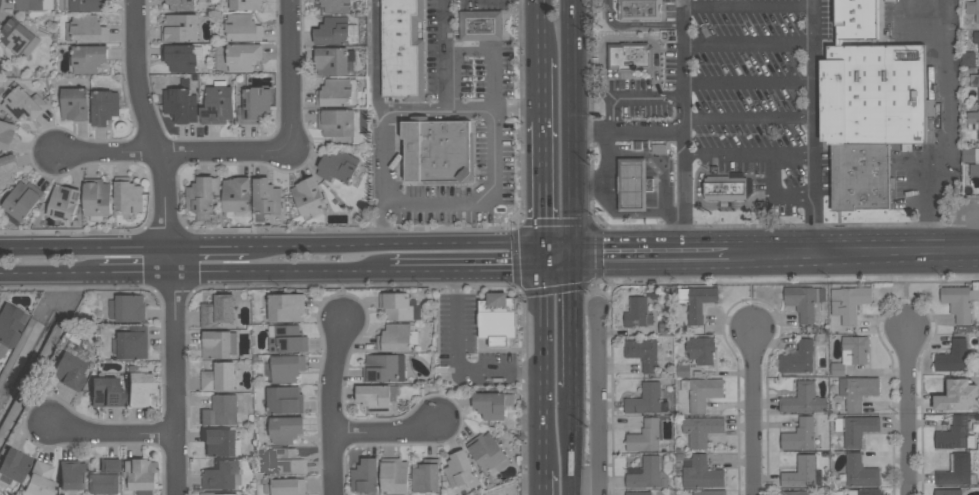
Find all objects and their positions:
building: (33, 4)
building: (181, 4)
building: (245, 4)
building: (84, 5)
building: (336, 6)
road: (752, 7)
building: (973, 8)
building: (641, 11)
building: (482, 25)
road: (634, 25)
road: (813, 25)
building: (180, 27)
building: (243, 27)
road: (542, 28)
building: (88, 29)
building: (333, 30)
building: (18, 37)
building: (976, 37)
road: (628, 39)
road: (748, 45)
building: (404, 52)
road: (446, 53)
road: (377, 54)
building: (243, 56)
road: (489, 56)
building: (87, 57)
building: (180, 57)
building: (631, 57)
building: (968, 58)
building: (333, 60)
road: (290, 73)
building: (974, 79)
road: (749, 84)
road: (543, 87)
building: (335, 92)
road: (632, 98)
building: (22, 103)
building: (75, 103)
building: (218, 103)
building: (255, 103)
building: (180, 104)
building: (868, 105)
road: (495, 106)
building: (104, 107)
road: (413, 108)
road: (749, 118)
building: (973, 120)
road: (578, 121)
road: (684, 121)
building: (336, 122)
road: (948, 129)
road: (648, 131)
road: (596, 132)
building: (6, 134)
road: (815, 149)
building: (439, 150)
road: (173, 152)
road: (750, 154)
building: (968, 154)
building: (977, 154)
road: (382, 157)
road: (607, 165)
building: (338, 166)
building: (8, 168)
building: (974, 169)
road: (660, 170)
road: (544, 181)
building: (634, 184)
gas station: (634, 184)
building: (725, 189)
building: (236, 193)
building: (127, 195)
building: (308, 195)
road: (774, 195)
building: (266, 196)
building: (203, 197)
building: (97, 198)
building: (22, 199)
building: (64, 202)
road: (462, 204)
road: (964, 229)
road: (655, 243)
road: (395, 244)
traffic signals: (545, 244)
road: (562, 244)
traffic signals: (579, 244)
road: (169, 245)
road: (208, 246)
road: (85, 247)
road: (971, 252)
road: (847, 254)
road: (655, 268)
traffic signals: (579, 270)
road: (484, 271)
traffic signals: (545, 271)
road: (280, 273)
road: (135, 275)
road: (49, 276)
road: (751, 291)
road: (907, 291)
building: (803, 300)
building: (697, 301)
building: (959, 301)
building: (849, 303)
building: (399, 306)
building: (285, 307)
building: (128, 308)
building: (217, 311)
building: (637, 312)
road: (578, 314)
building: (499, 319)
building: (9, 325)
building: (665, 327)
building: (397, 337)
building: (287, 339)
building: (130, 344)
building: (219, 344)
building: (701, 349)
building: (854, 349)
building: (643, 353)
road: (543, 357)
building: (798, 357)
building: (953, 357)
road: (458, 359)
building: (384, 367)
building: (287, 368)
building: (837, 369)
building: (683, 370)
building: (68, 372)
building: (219, 377)
building: (138, 386)
building: (105, 391)
building: (857, 391)
building: (702, 392)
building: (957, 395)
building: (378, 397)
road: (601, 399)
building: (644, 399)
building: (803, 399)
building: (285, 400)
road: (333, 404)
building: (492, 404)
building: (220, 411)
road: (752, 411)
road: (907, 411)
building: (856, 428)
building: (285, 429)
building: (702, 429)
road: (389, 430)
road: (113, 432)
building: (800, 434)
building: (955, 434)
building: (645, 436)
road: (577, 439)
building: (220, 443)
building: (487, 452)
building: (285, 462)
building: (12, 467)
building: (460, 470)
building: (956, 471)
building: (701, 472)
building: (860, 472)
building: (647, 473)
building: (803, 473)
building: (72, 475)
building: (365, 475)
building: (139, 476)
building: (221, 476)
building: (394, 476)
building: (426, 476)
building: (106, 477)
building: (39, 480)
road: (541, 483)
building: (283, 486)
building: (947, 491)
building: (708, 492)
building: (792, 492)
building: (864, 492)
building: (216, 493)
building: (638, 493)

